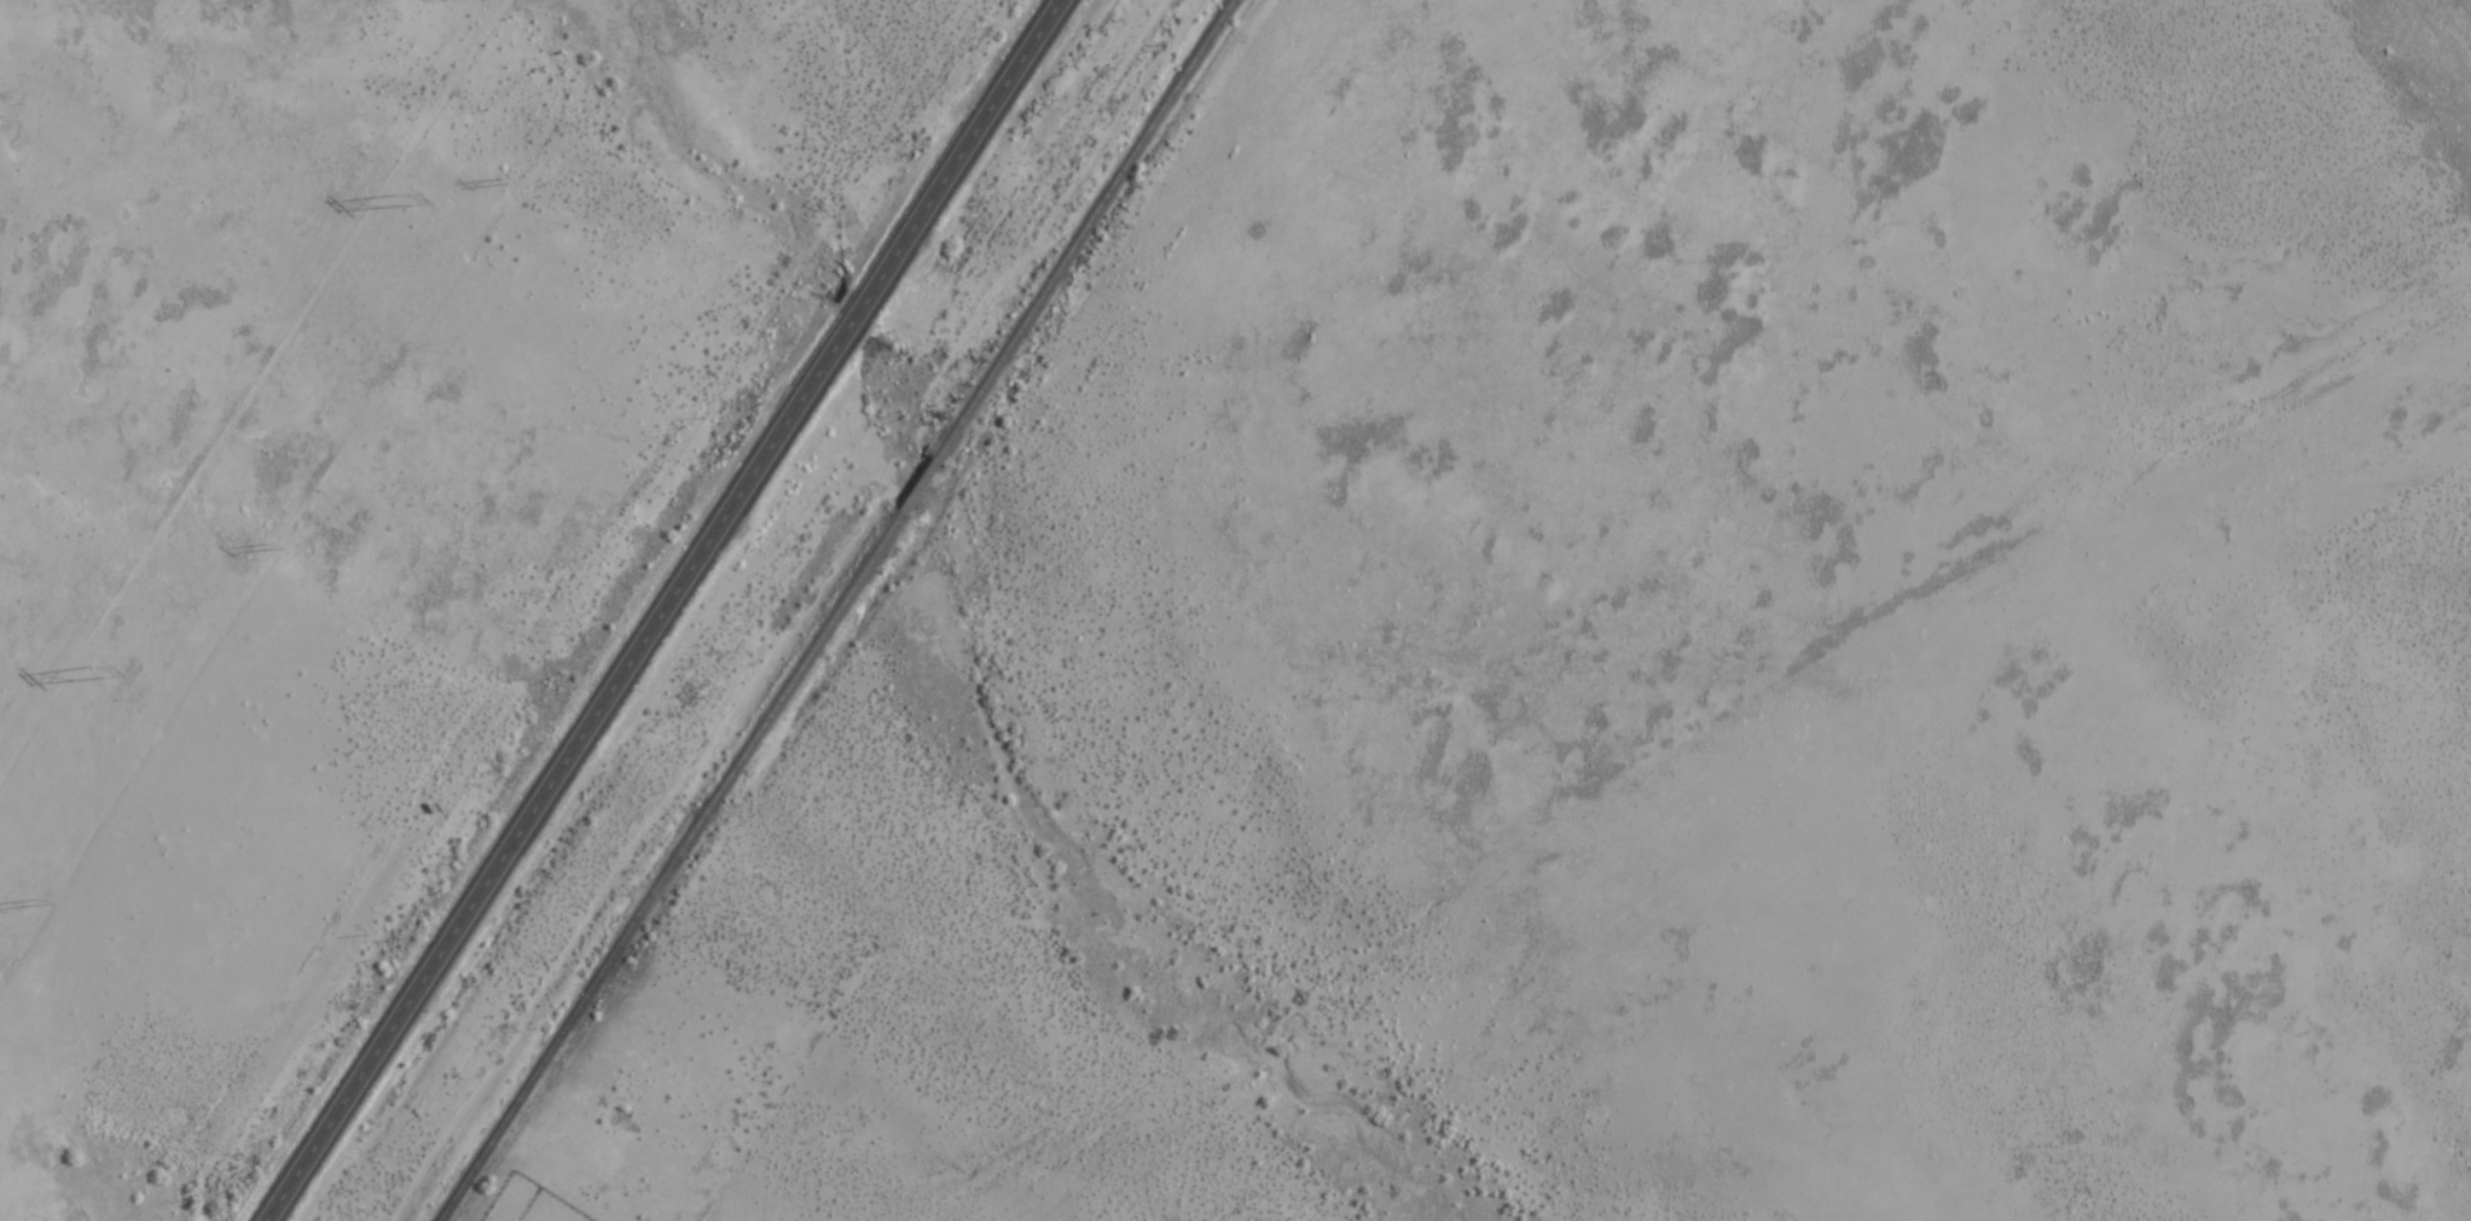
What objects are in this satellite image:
power tower: (396, 192)
railway: (829, 609)
road: (661, 610)
power tower: (86, 664)
road: (1393, 876)

